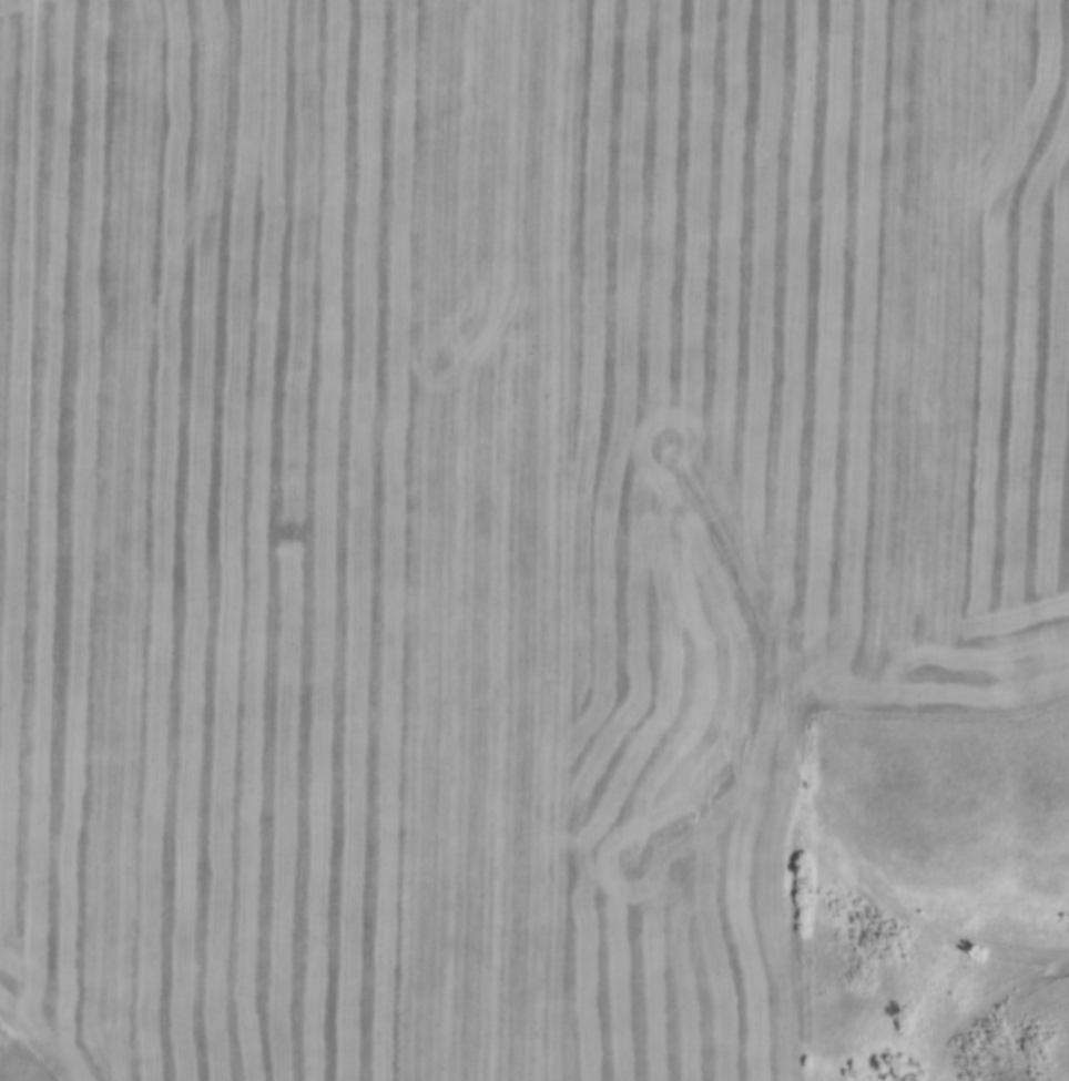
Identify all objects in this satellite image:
road: (1065, 961)

